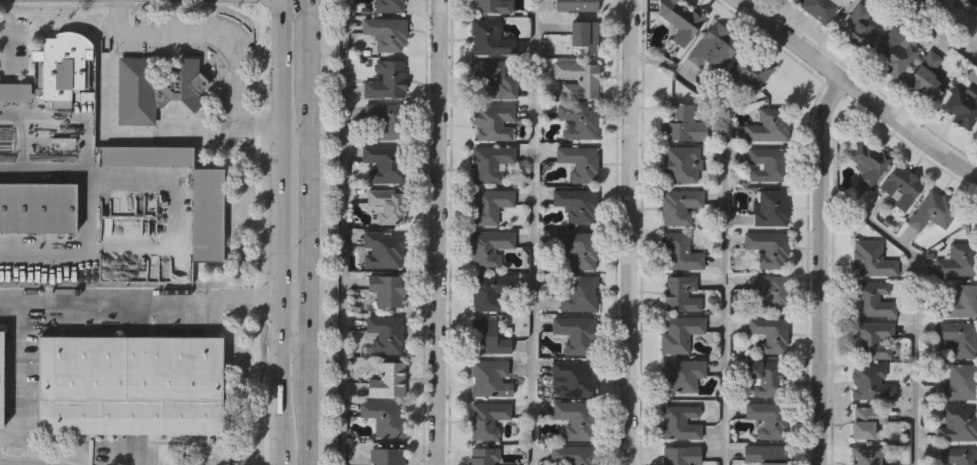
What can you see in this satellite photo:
building: (796, 0)
building: (493, 5)
building: (576, 5)
building: (387, 6)
building: (821, 8)
building: (679, 20)
road: (950, 20)
building: (858, 25)
road: (936, 31)
building: (386, 32)
building: (585, 33)
road: (221, 38)
building: (488, 39)
road: (307, 42)
building: (713, 46)
building: (895, 51)
building: (64, 72)
building: (749, 72)
building: (927, 75)
building: (577, 79)
building: (386, 80)
building: (492, 80)
building: (154, 86)
road: (857, 89)
building: (15, 92)
building: (962, 106)
building: (387, 120)
building: (492, 120)
building: (579, 121)
building: (681, 124)
building: (766, 126)
building: (976, 135)
road: (202, 136)
road: (281, 147)
building: (146, 155)
building: (384, 162)
building: (490, 162)
building: (579, 162)
building: (766, 163)
building: (869, 163)
building: (679, 165)
building: (902, 187)
road: (307, 192)
building: (577, 204)
building: (387, 205)
building: (678, 205)
building: (36, 206)
building: (489, 206)
building: (771, 208)
building: (933, 211)
building: (207, 213)
road: (173, 219)
road: (343, 232)
road: (439, 232)
road: (535, 232)
road: (631, 232)
road: (725, 233)
building: (489, 247)
building: (766, 247)
building: (383, 250)
building: (578, 250)
building: (679, 253)
building: (871, 257)
building: (959, 259)
road: (821, 268)
building: (386, 289)
building: (490, 291)
building: (769, 291)
building: (578, 293)
building: (679, 293)
road: (141, 297)
road: (283, 298)
building: (872, 298)
road: (295, 301)
building: (959, 302)
road: (915, 303)
building: (678, 332)
building: (768, 333)
building: (385, 334)
building: (576, 334)
road: (307, 337)
building: (487, 337)
building: (956, 338)
building: (874, 339)
road: (283, 366)
building: (682, 374)
building: (763, 375)
building: (1, 377)
building: (489, 378)
road: (20, 379)
building: (571, 379)
building: (388, 380)
building: (961, 380)
building: (871, 383)
building: (135, 388)
building: (384, 417)
road: (306, 419)
building: (486, 419)
building: (575, 419)
building: (768, 420)
building: (865, 420)
building: (679, 422)
building: (957, 423)
road: (284, 448)
road: (125, 449)
building: (680, 455)
building: (763, 455)
building: (866, 455)
building: (385, 456)
building: (482, 456)
building: (571, 456)
building: (958, 456)

